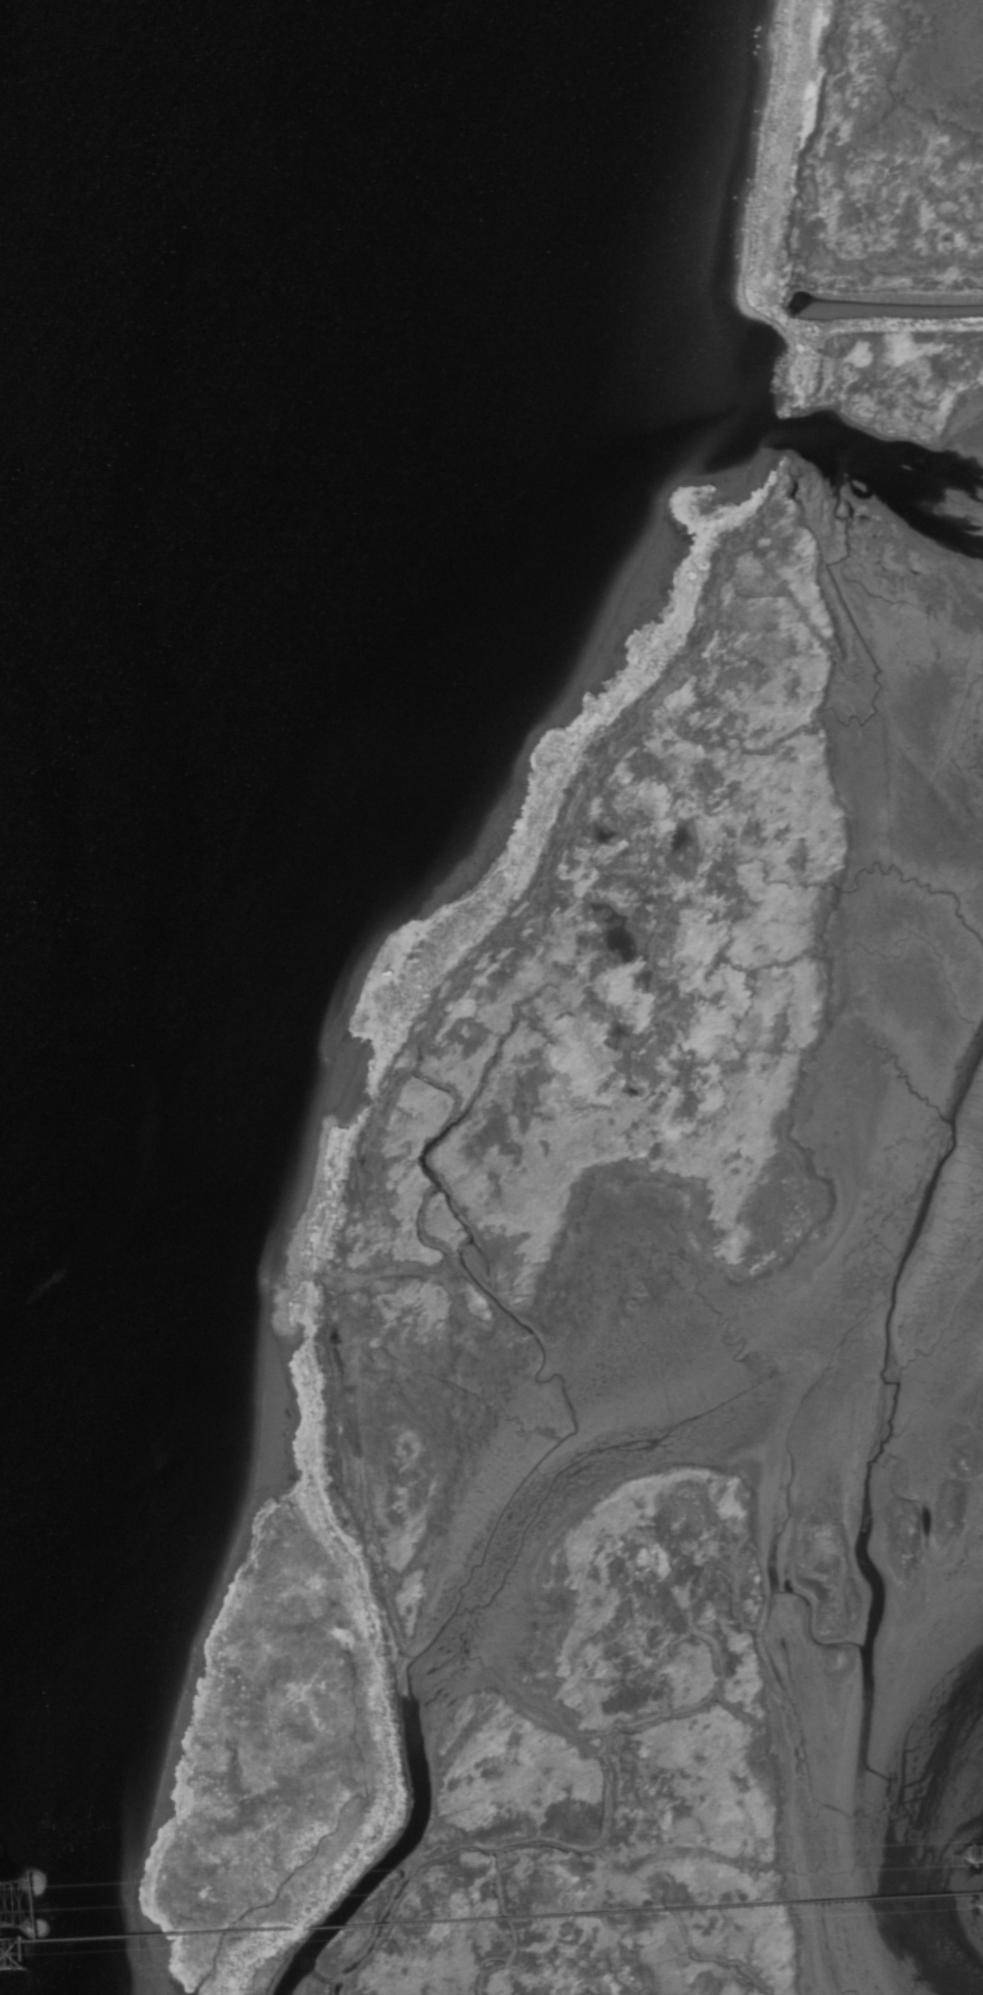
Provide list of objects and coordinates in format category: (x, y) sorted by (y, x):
power tower: (7, 1912)
power tower: (9, 1959)

